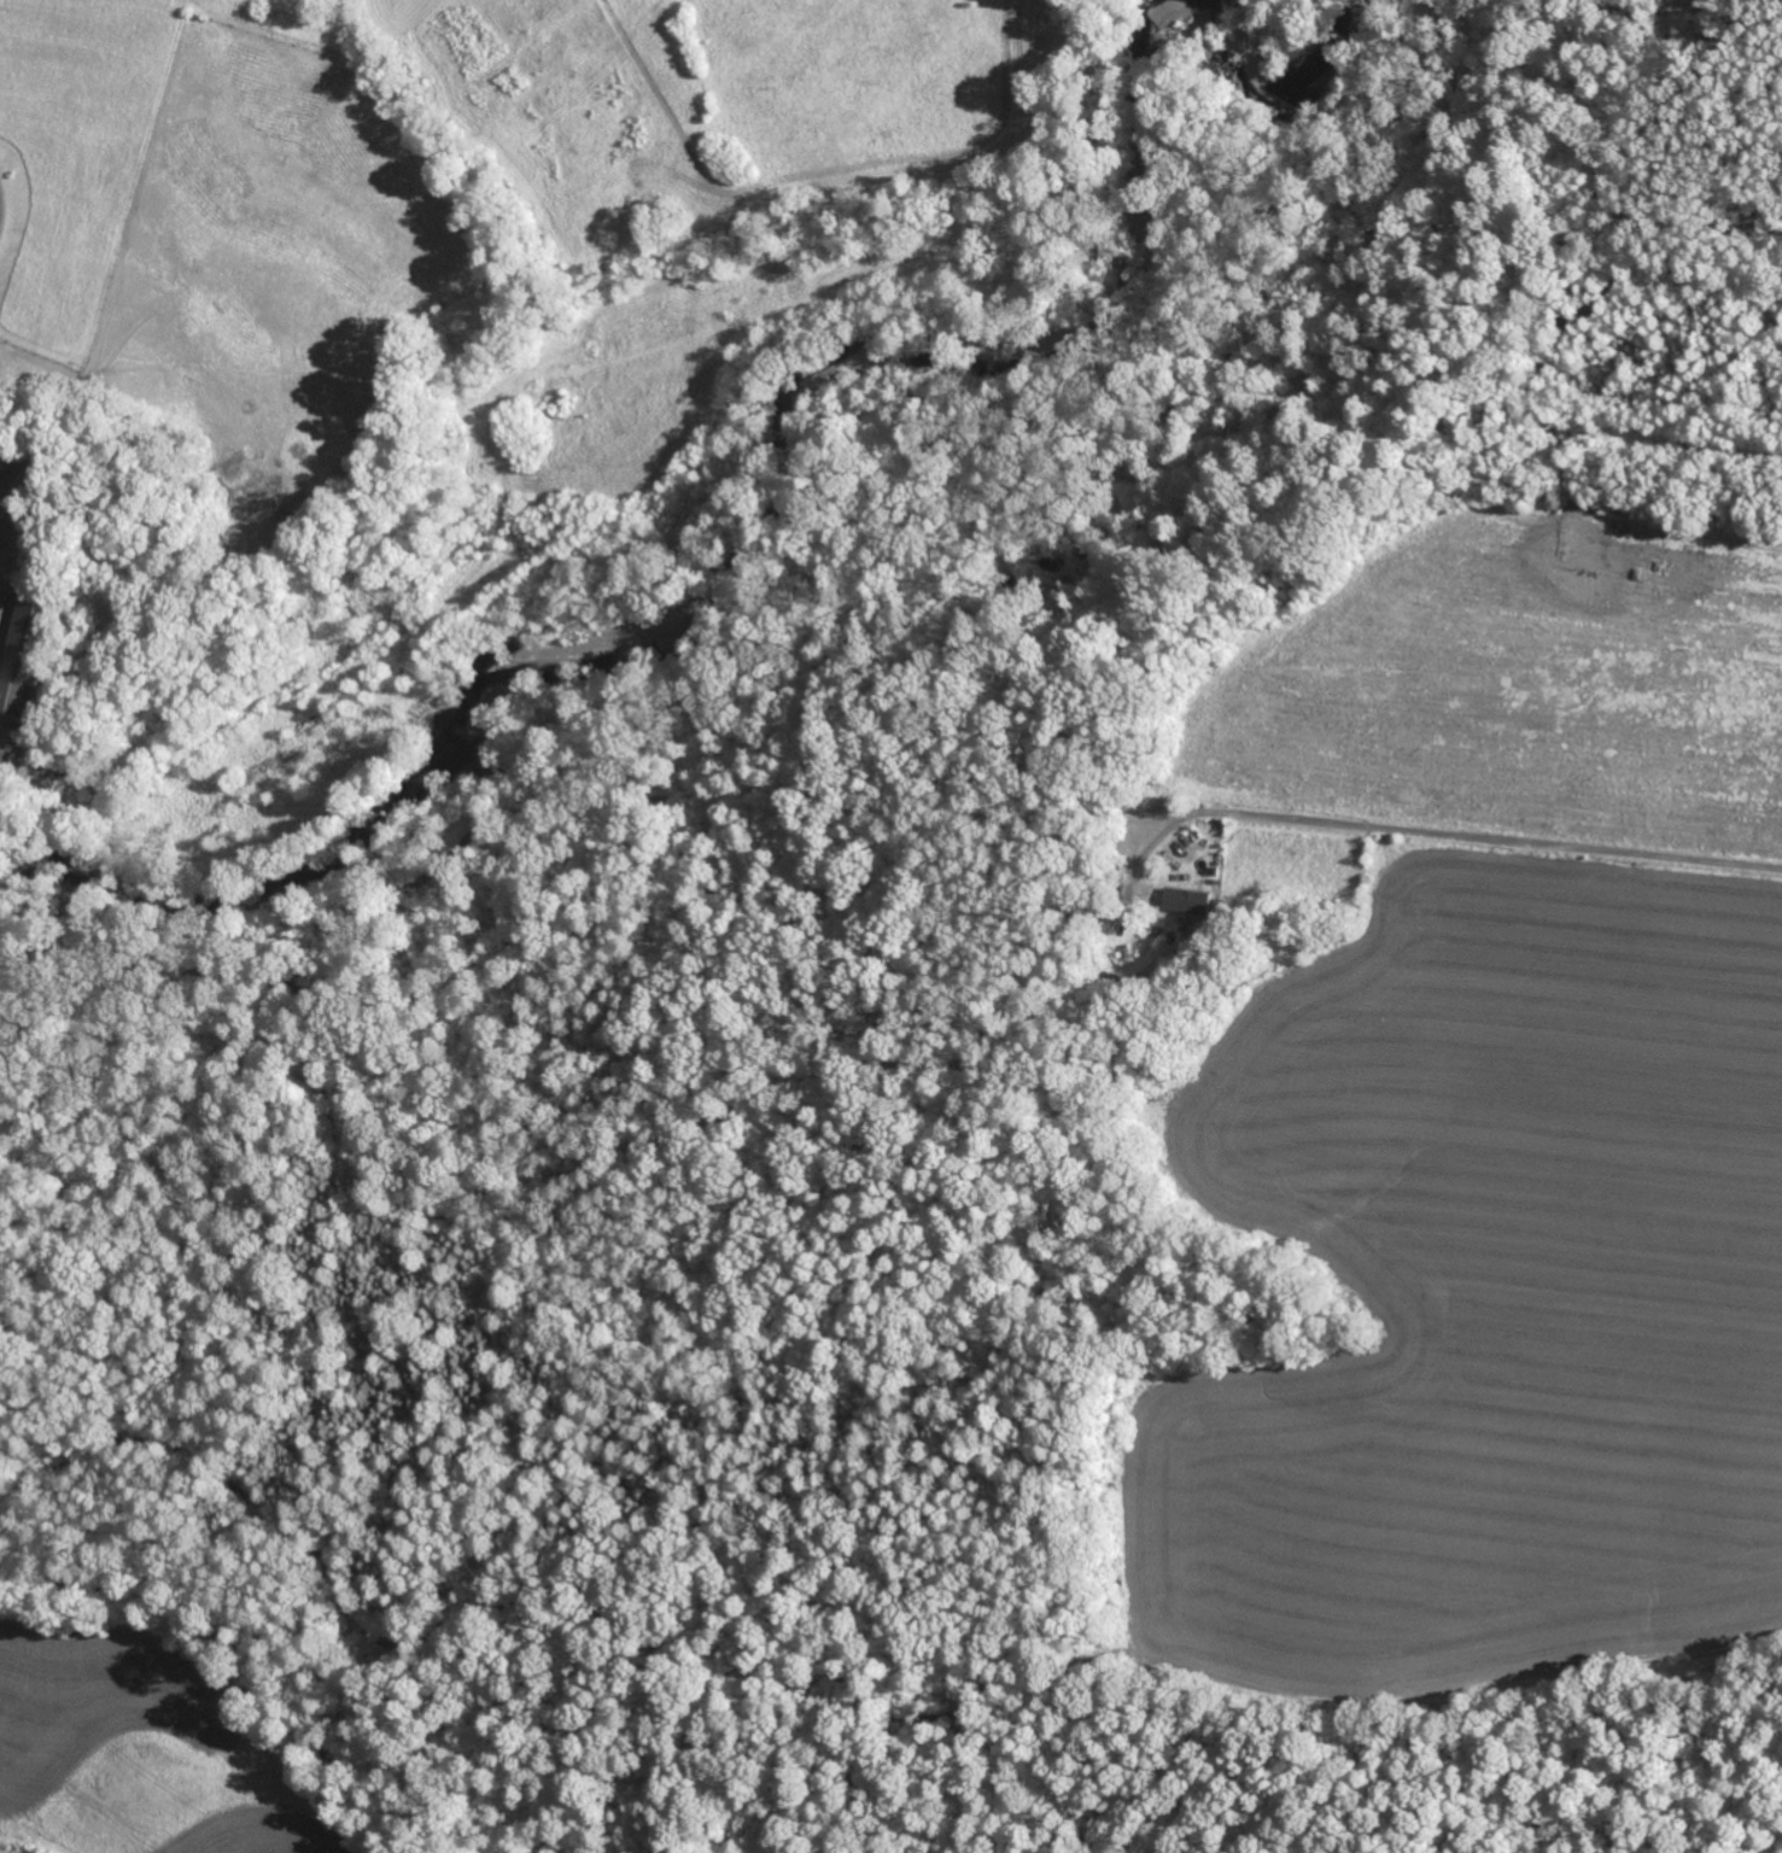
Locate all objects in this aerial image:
building: (25, 661)
building: (7, 754)
road: (1448, 831)

